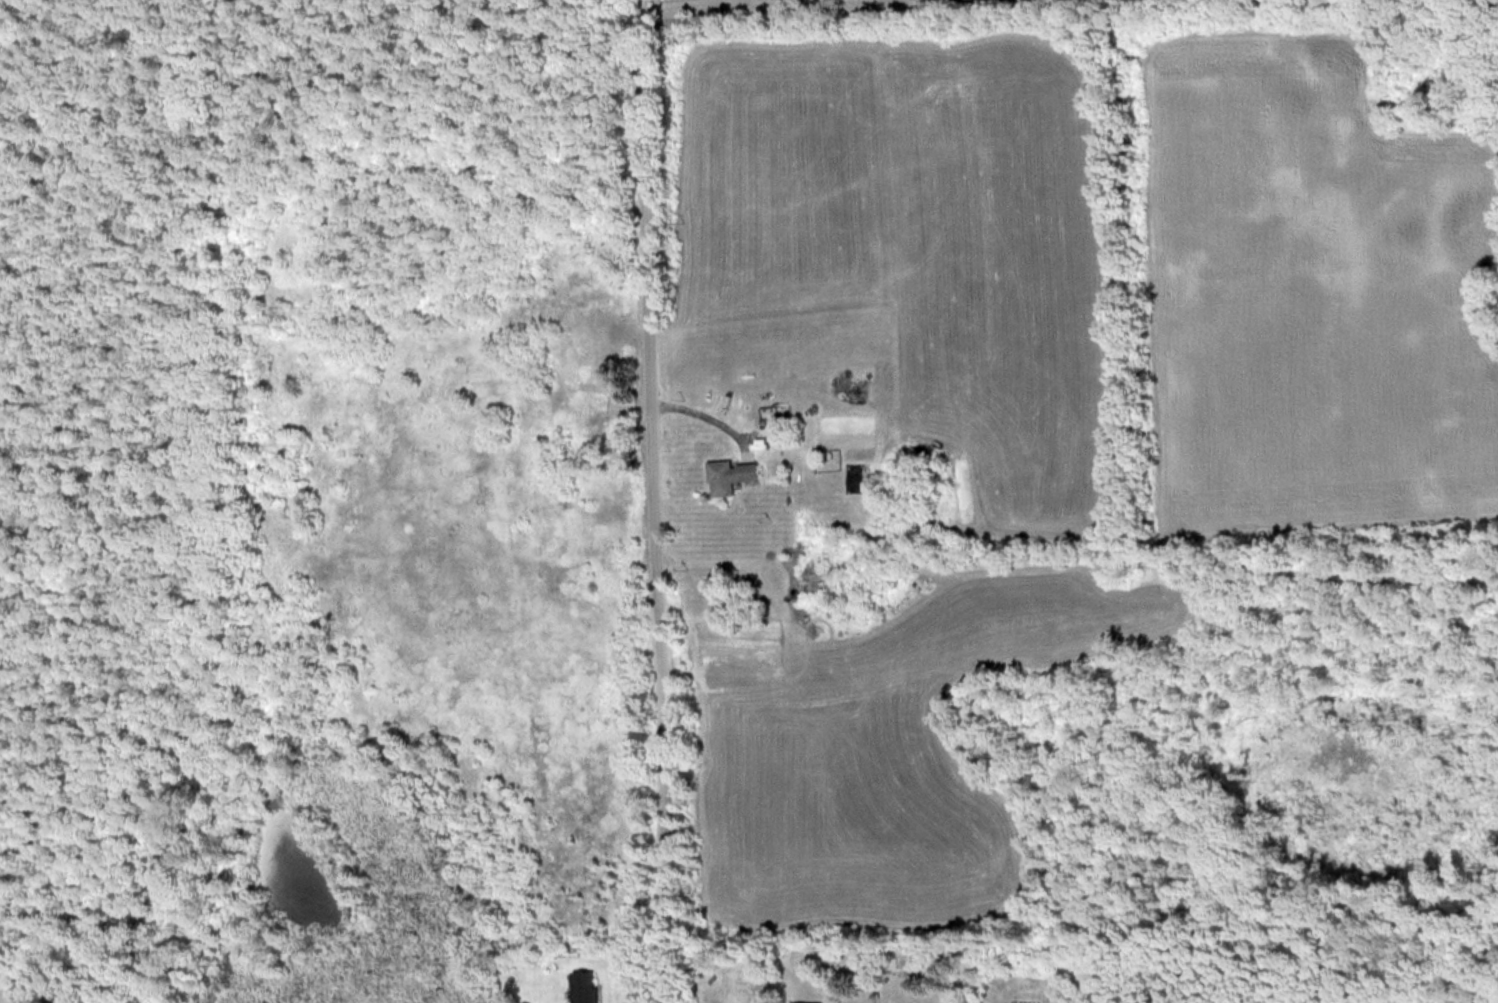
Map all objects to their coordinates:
road: (695, 4)
park: (322, 475)
building: (733, 476)
road: (656, 501)
road: (1079, 559)
building: (592, 986)

